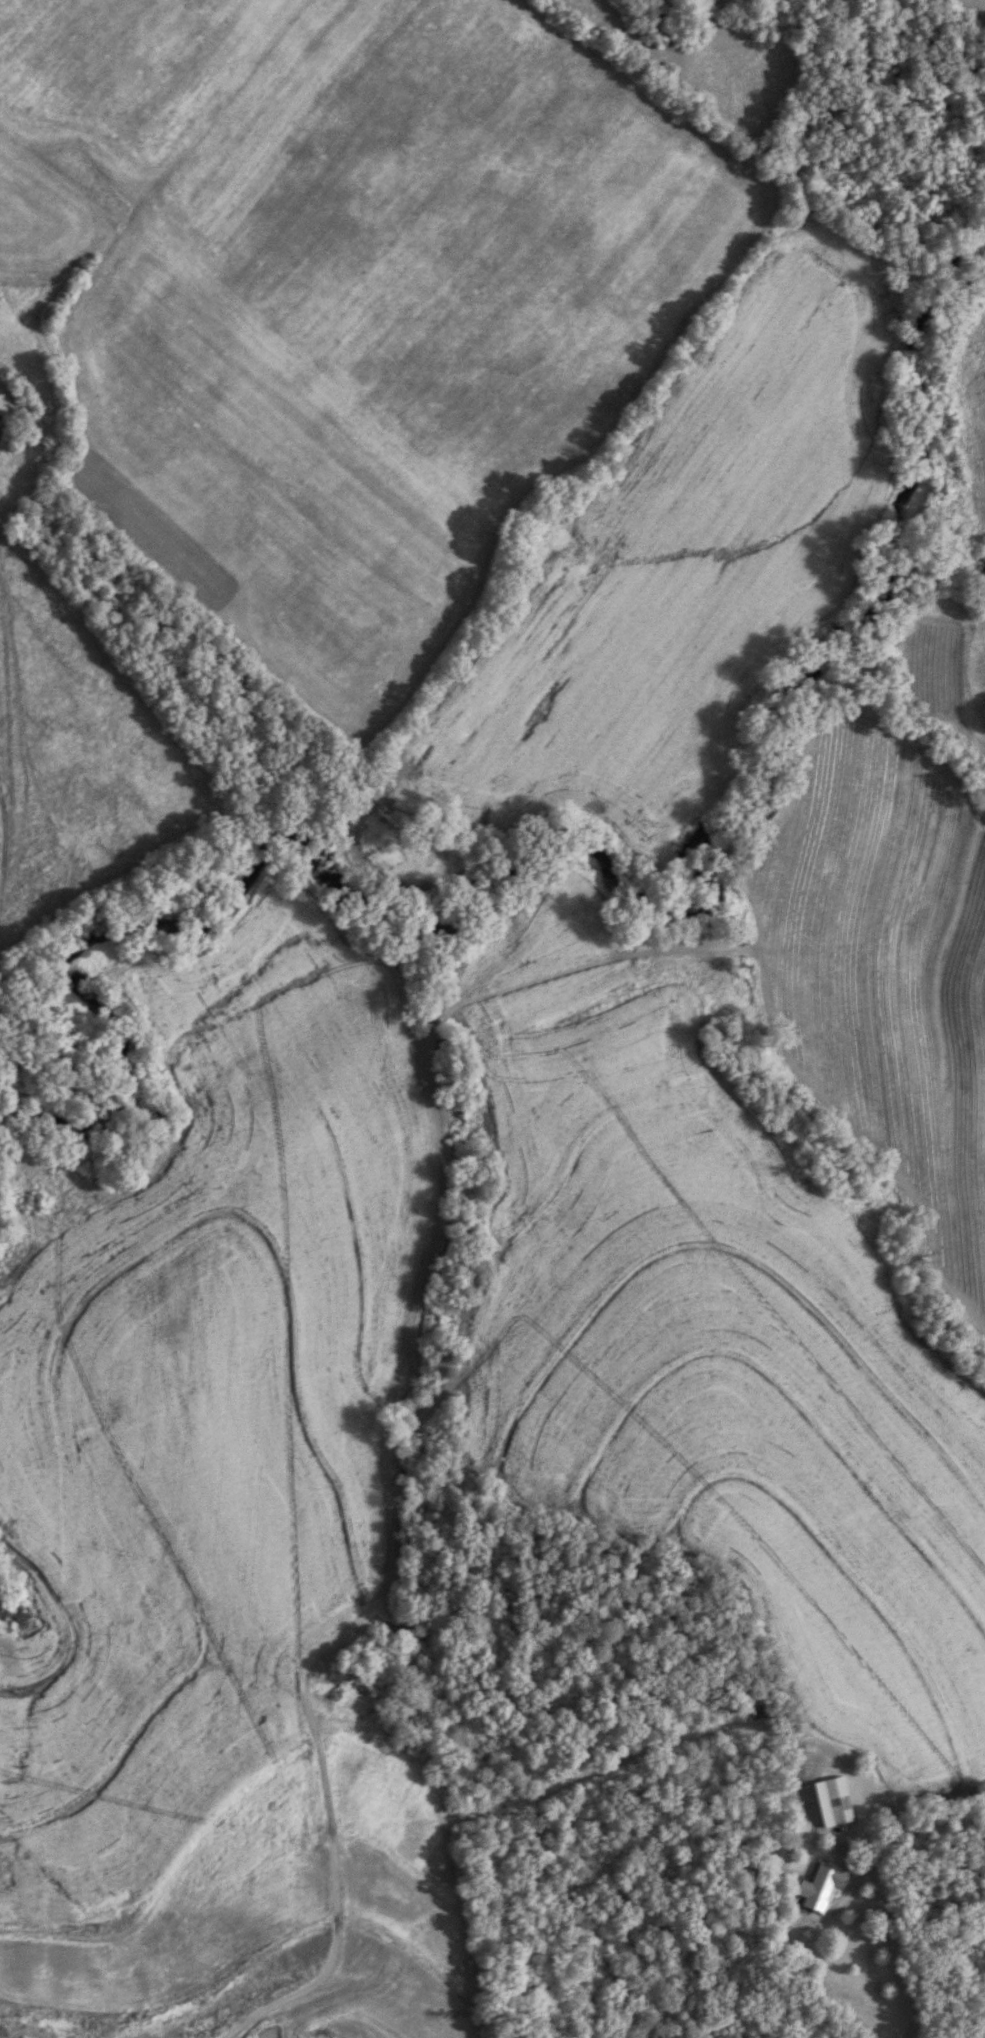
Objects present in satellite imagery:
river: (601, 859)
building: (834, 1801)
building: (817, 1888)
road: (894, 1936)

